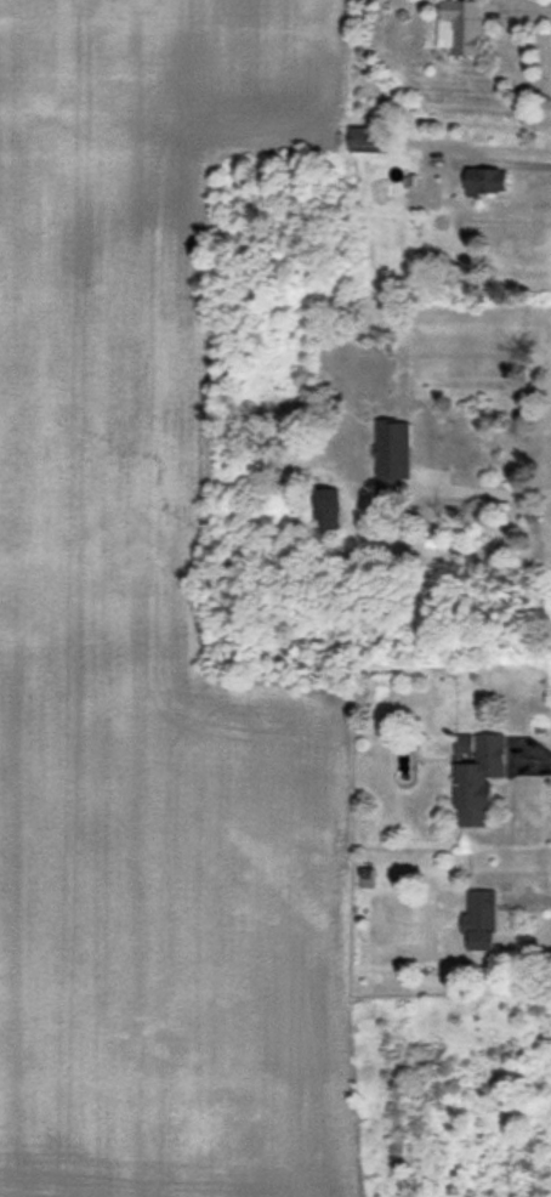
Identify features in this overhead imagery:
road: (529, 6)
building: (461, 28)
building: (368, 141)
road: (487, 158)
building: (484, 182)
building: (422, 198)
building: (461, 441)
building: (384, 443)
road: (493, 489)
building: (326, 511)
building: (475, 777)
building: (478, 923)

